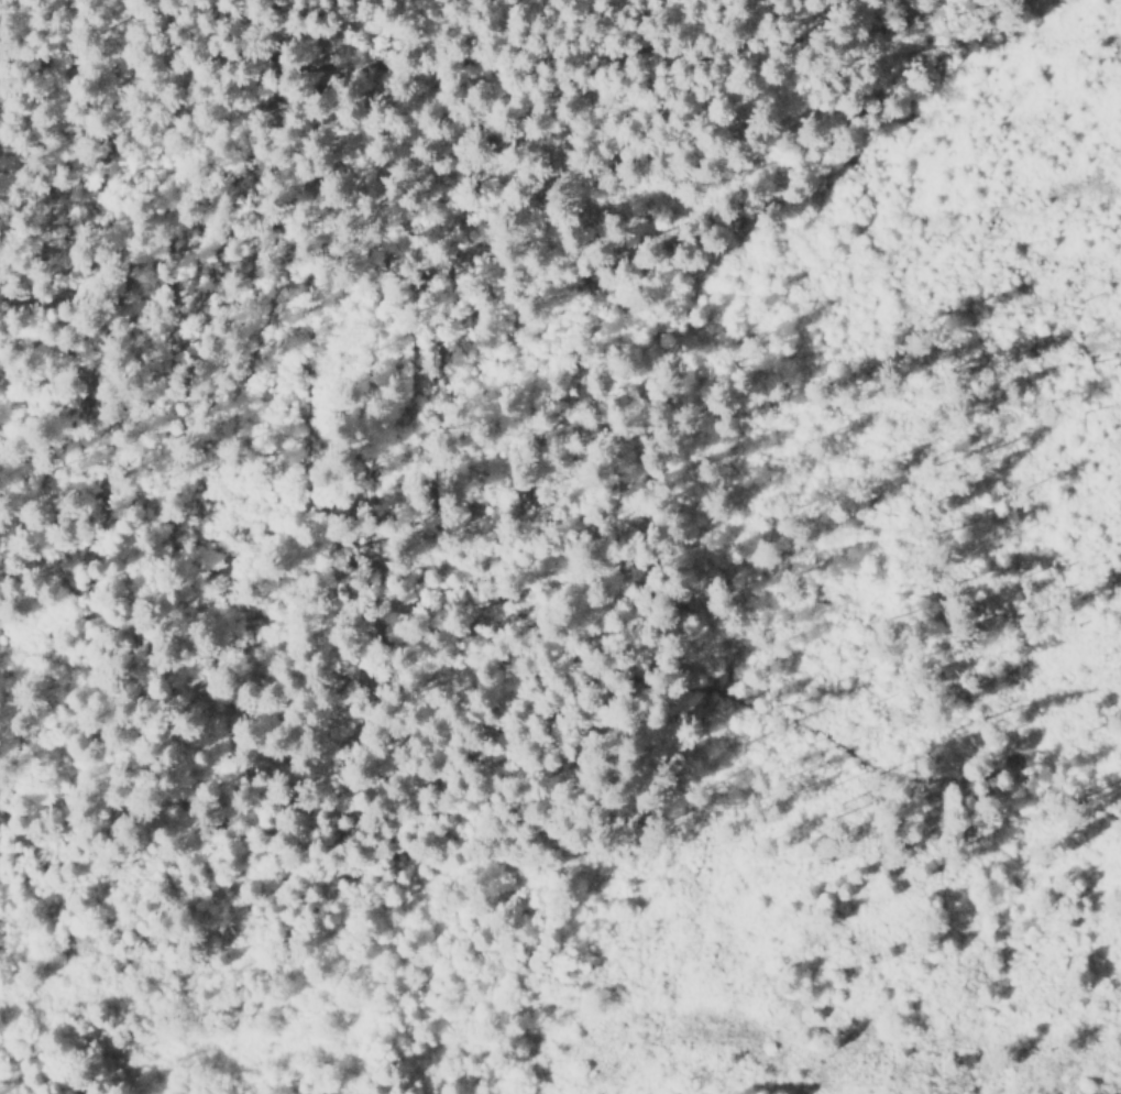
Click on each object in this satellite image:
road: (488, 57)
road: (554, 654)

